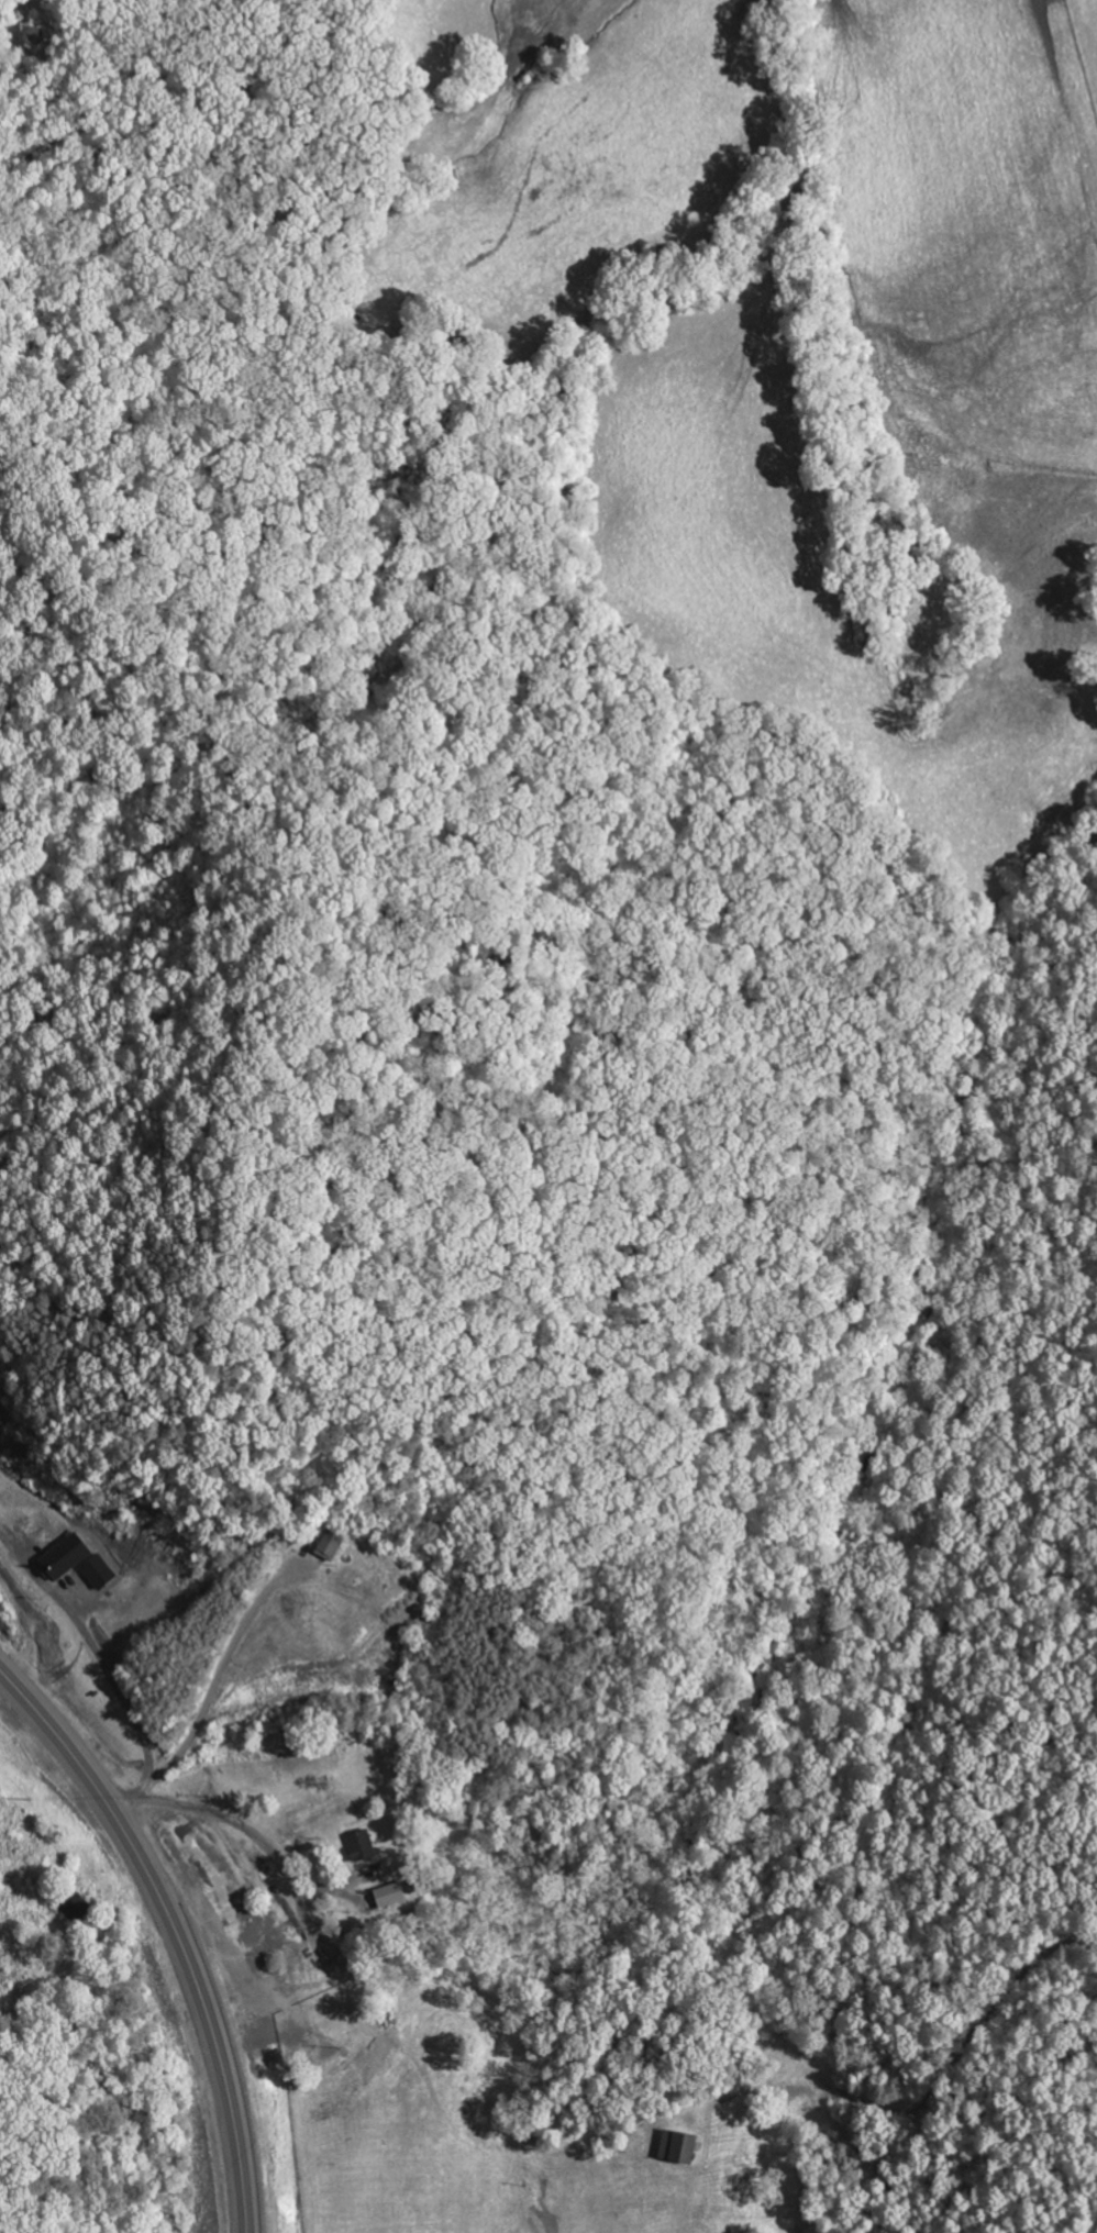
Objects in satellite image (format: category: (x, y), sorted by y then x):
building: (68, 1554)
building: (100, 1569)
building: (365, 1844)
building: (394, 1893)
road: (174, 1930)
building: (683, 2145)

